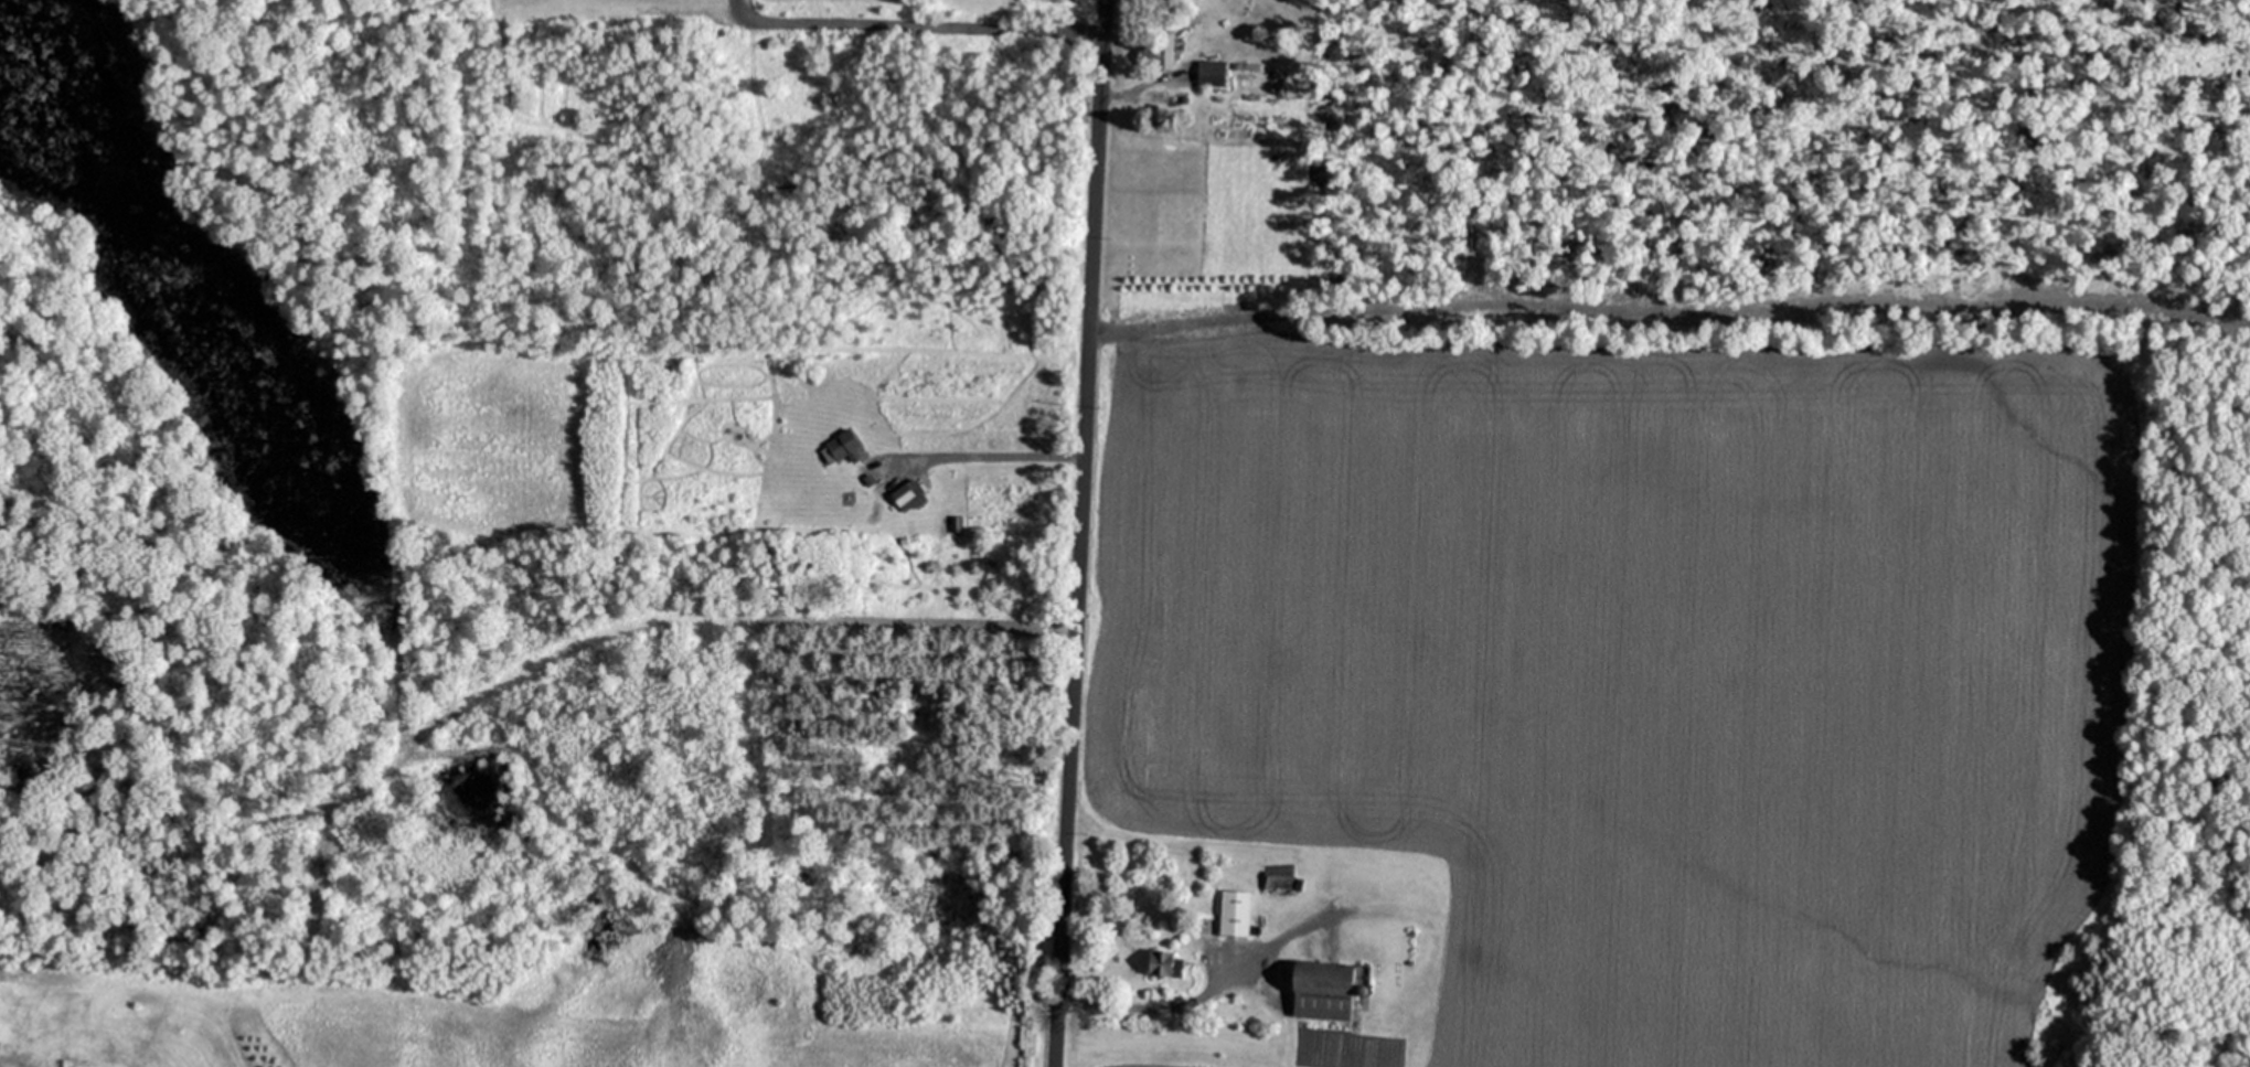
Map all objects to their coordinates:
road: (911, 24)
building: (1155, 53)
building: (1209, 71)
road: (1134, 84)
building: (1155, 96)
building: (842, 445)
road: (987, 456)
road: (1075, 533)
building: (1275, 882)
building: (1233, 911)
building: (1170, 963)
building: (1327, 988)
road: (1151, 1007)

